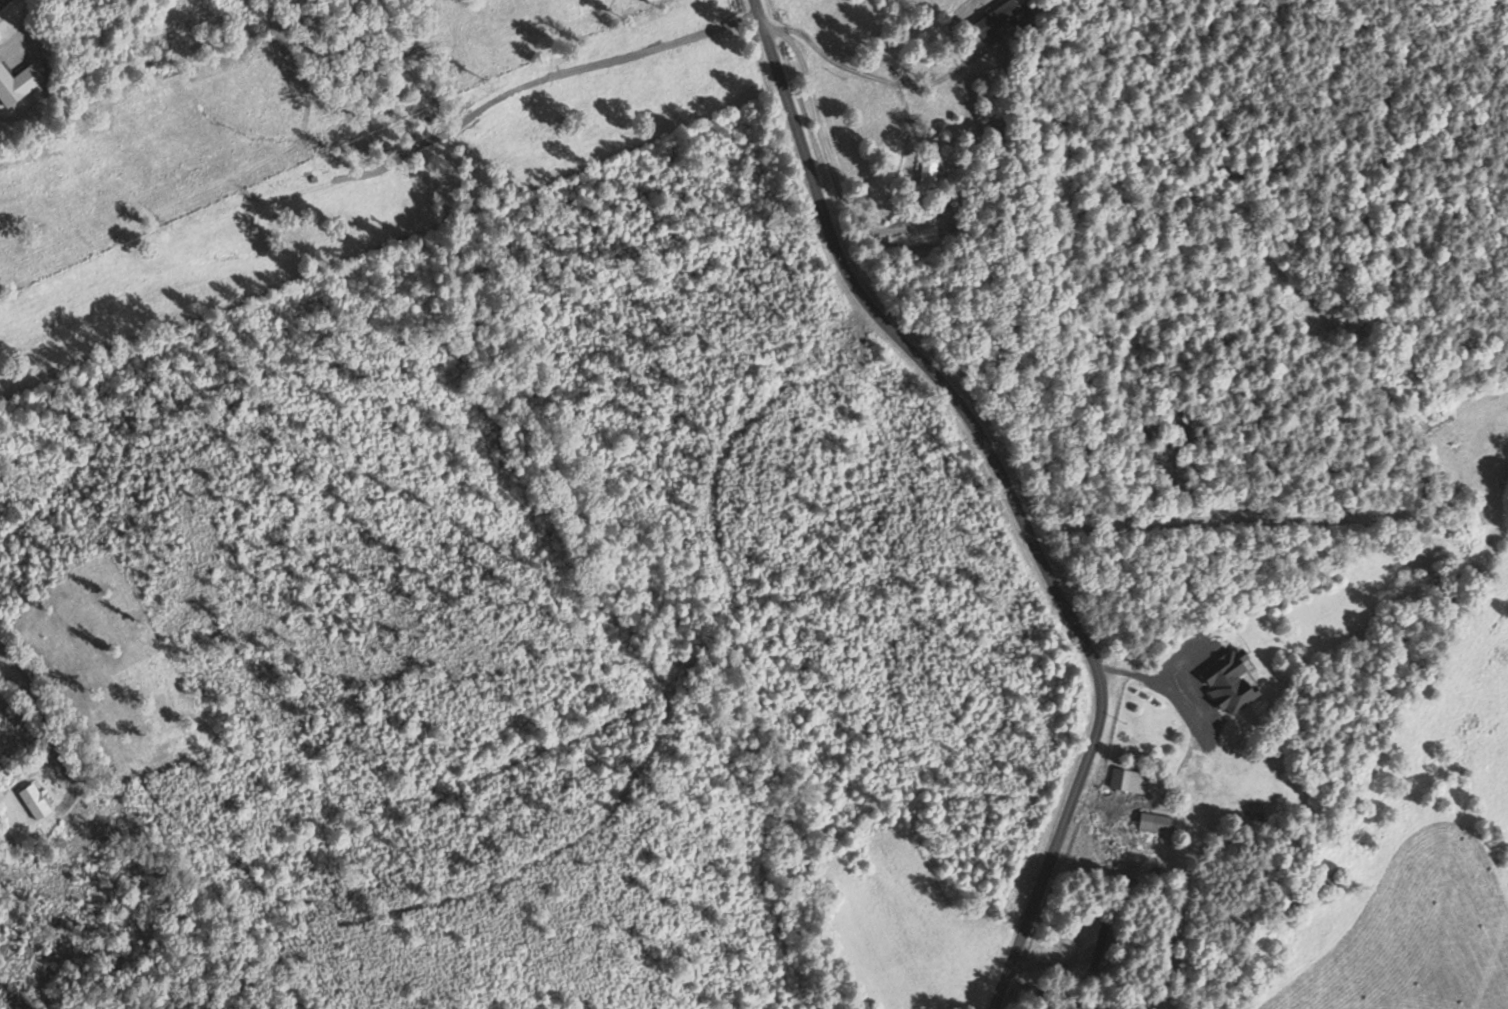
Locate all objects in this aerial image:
road: (0, 0)
road: (1005, 488)
building: (1228, 681)
building: (1126, 781)
building: (32, 802)
building: (1153, 823)

